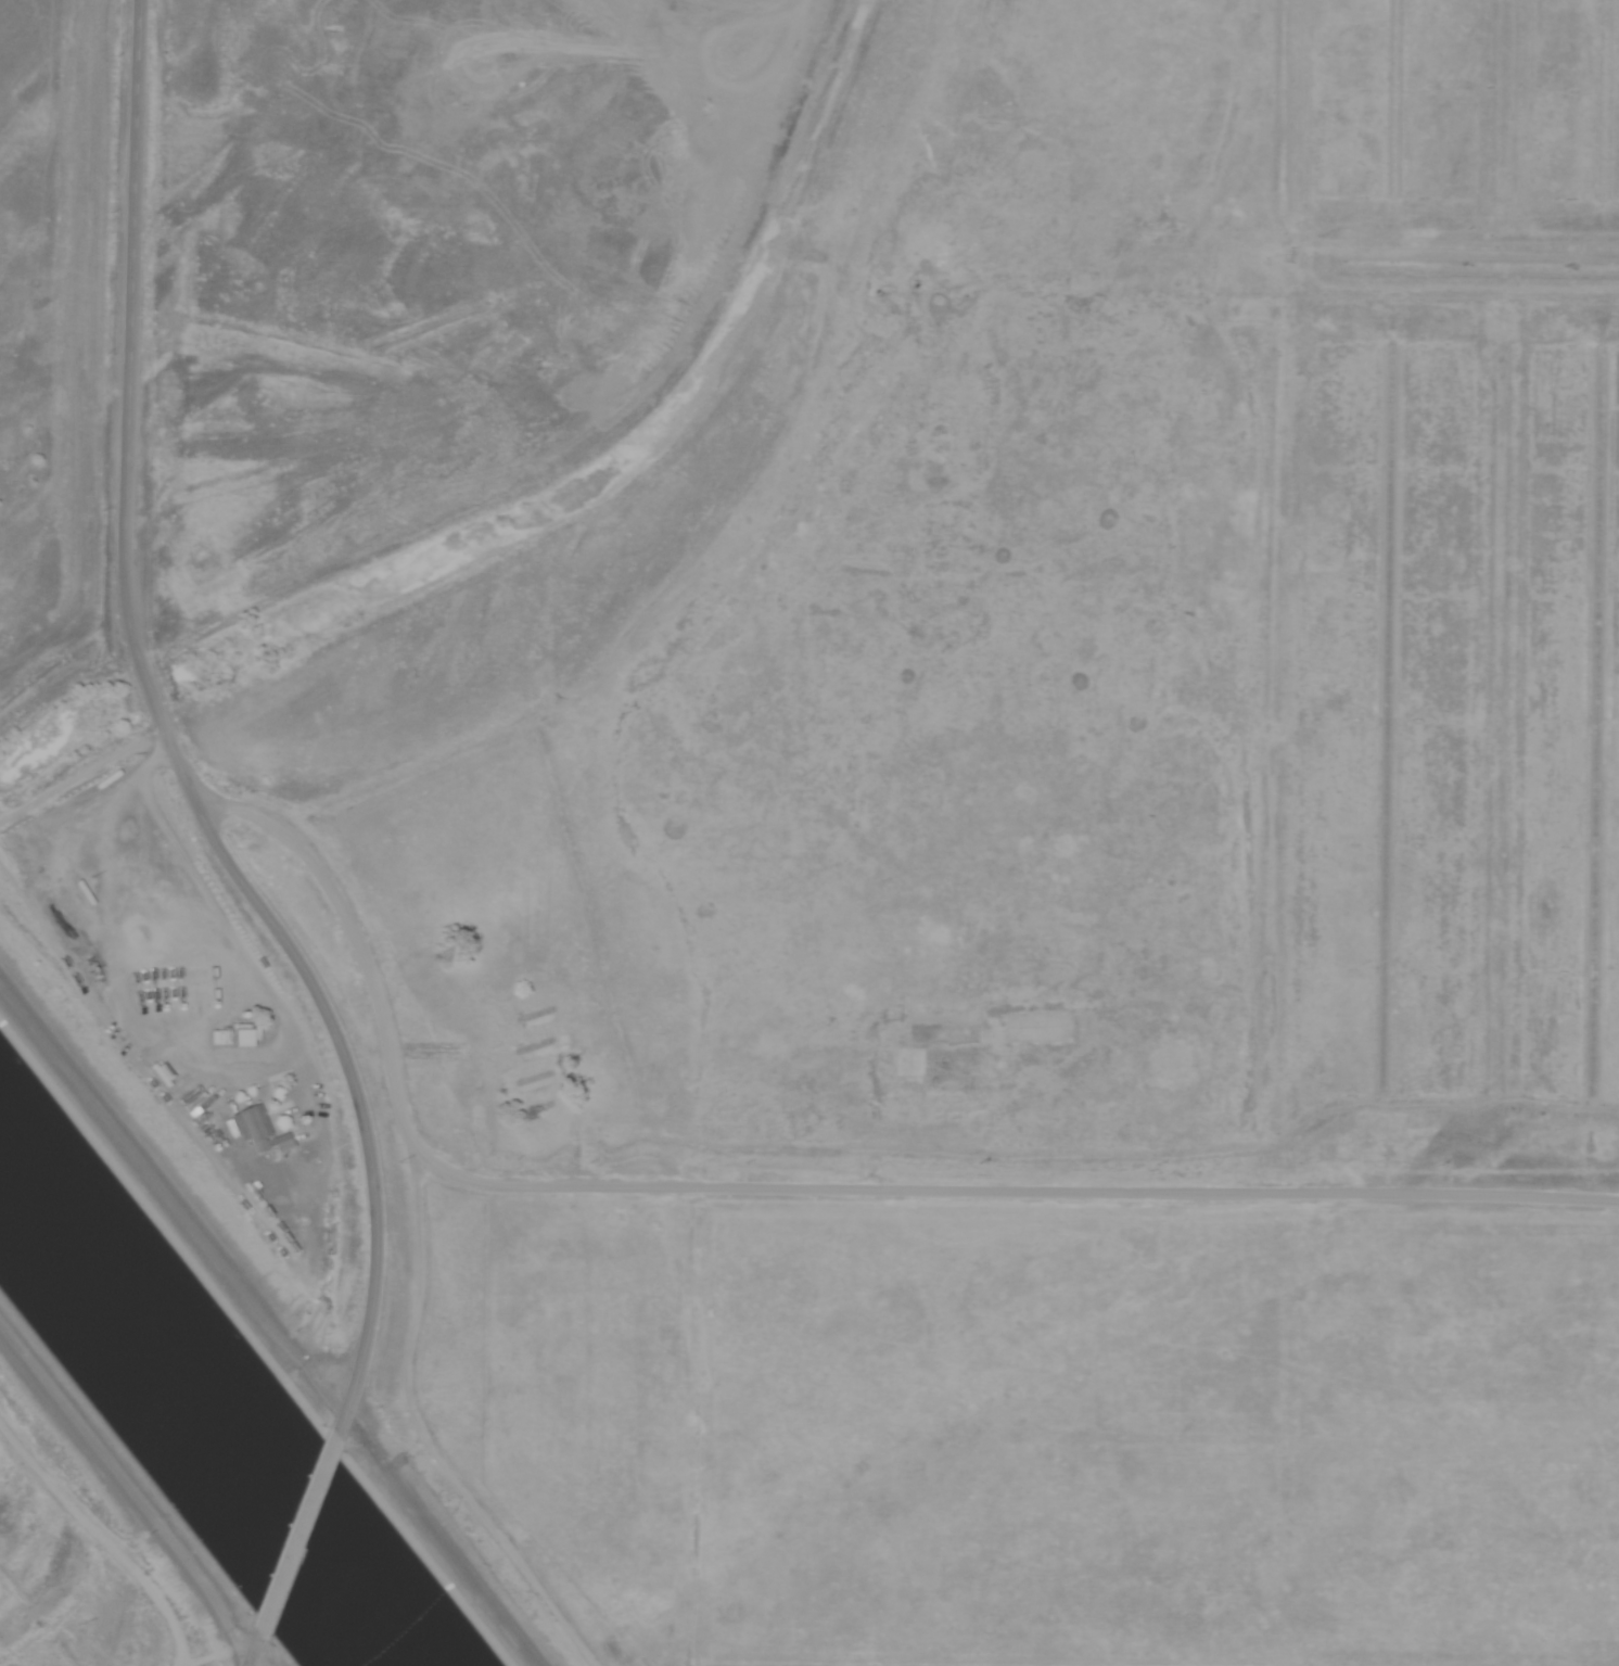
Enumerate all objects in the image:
road: (1609, 529)
road: (1264, 598)
road: (1389, 639)
road: (170, 739)
building: (248, 1032)
building: (252, 1125)
building: (272, 1139)
road: (790, 1193)
road: (305, 1535)
road: (255, 1649)
road: (259, 1659)

